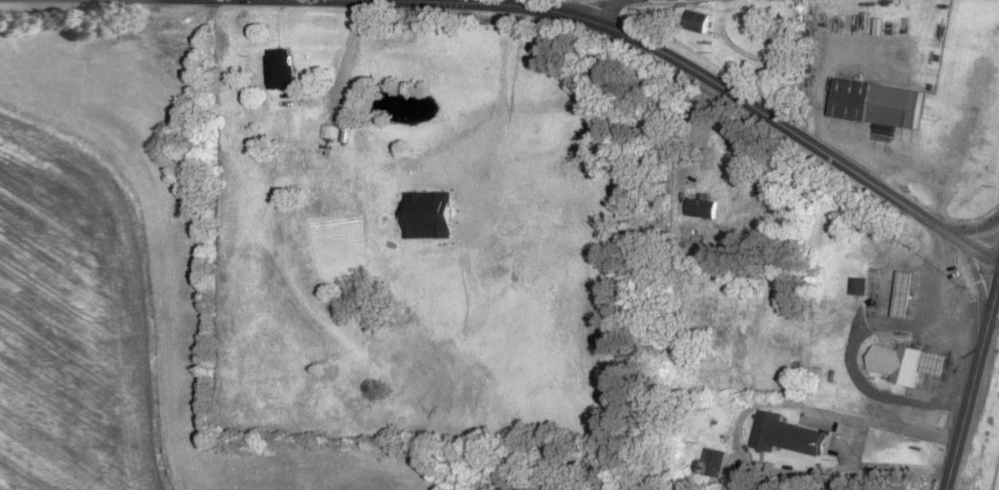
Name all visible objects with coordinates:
road: (603, 5)
building: (697, 23)
building: (278, 69)
road: (725, 92)
building: (875, 104)
building: (327, 132)
road: (974, 230)
building: (858, 287)
building: (903, 295)
road: (992, 325)
building: (904, 364)
road: (972, 382)
road: (745, 418)
road: (906, 427)
building: (790, 435)
building: (714, 464)

